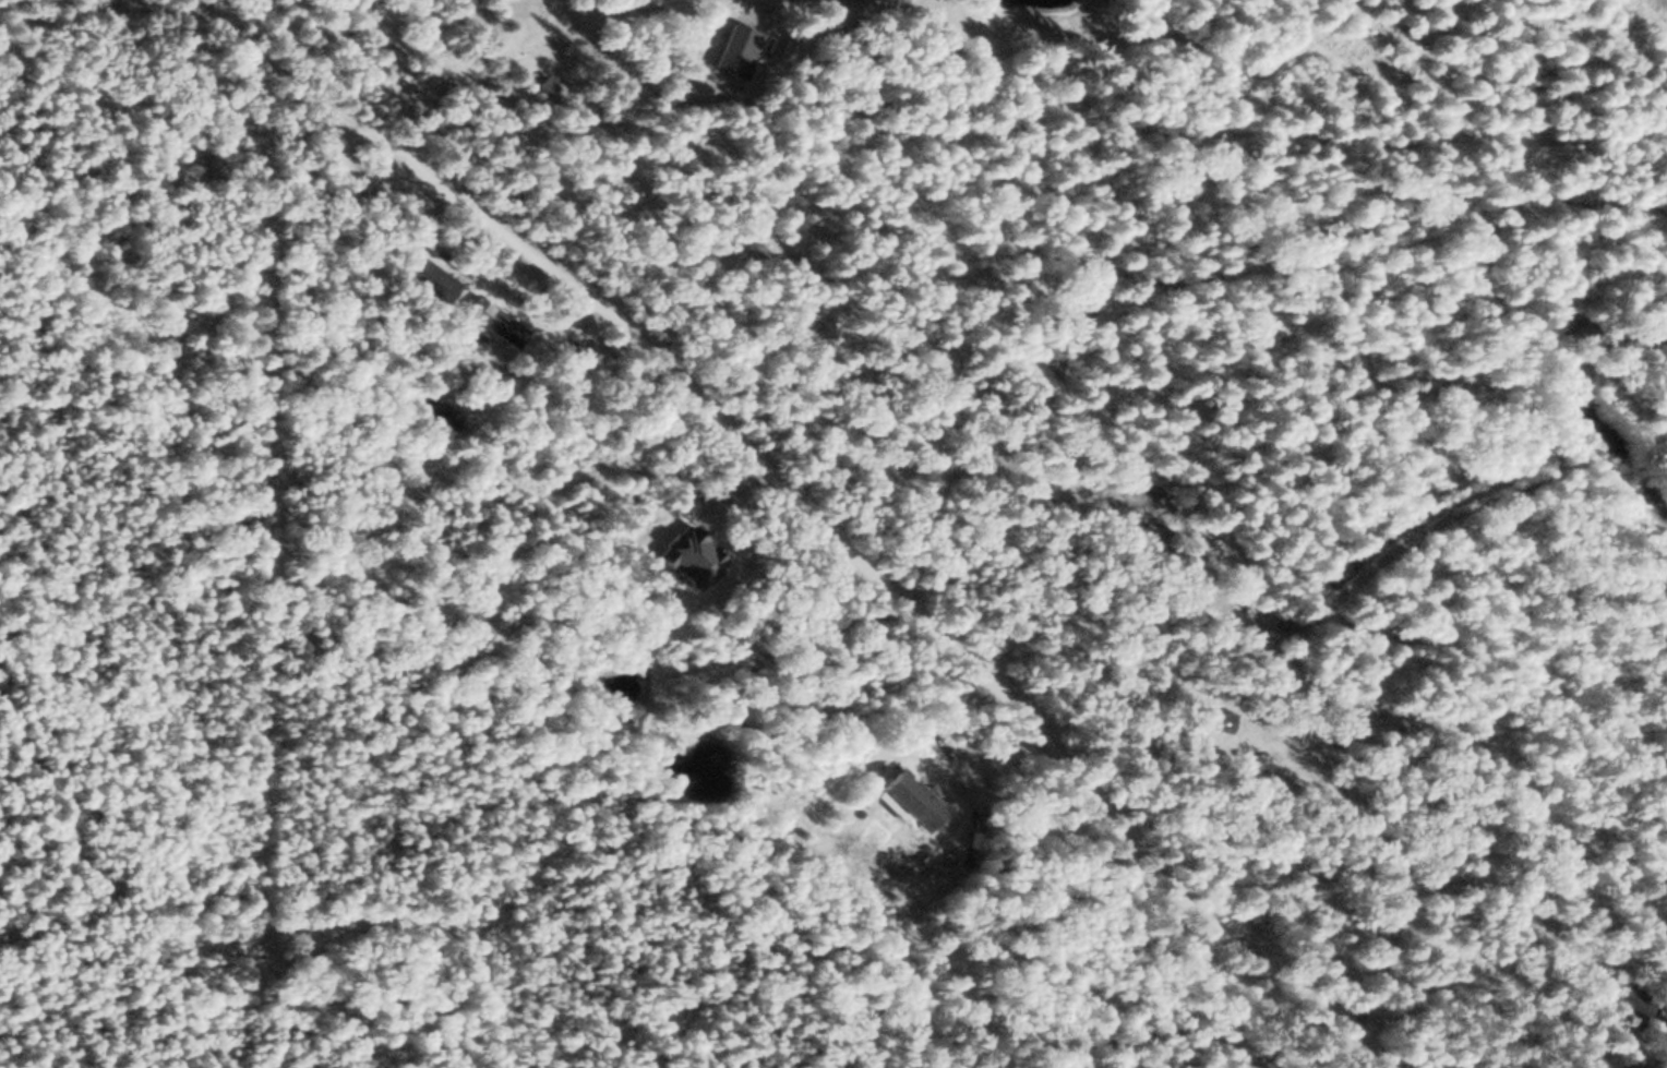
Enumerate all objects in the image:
road: (573, 8)
road: (310, 82)
road: (393, 82)
building: (545, 84)
building: (428, 278)
building: (490, 321)
road: (907, 603)
building: (1215, 719)
building: (1292, 765)
building: (906, 796)
building: (1628, 1000)

